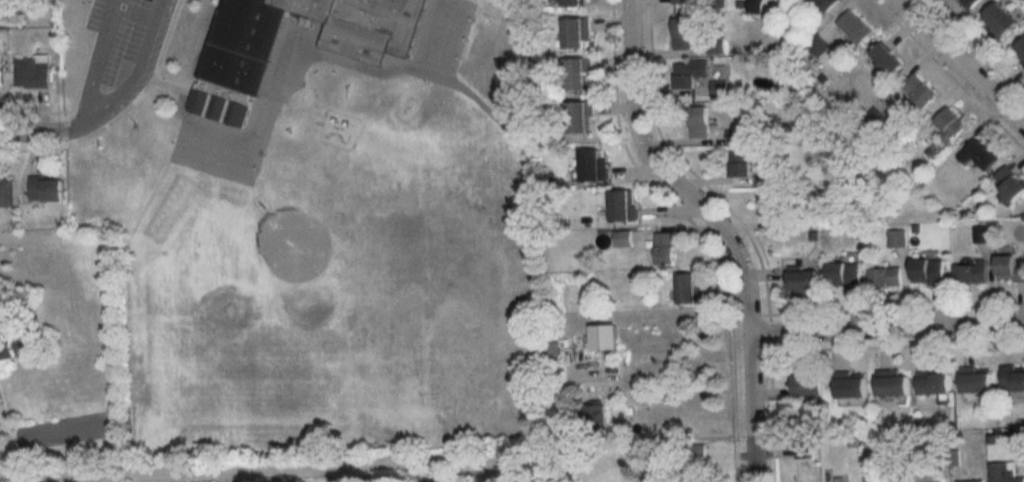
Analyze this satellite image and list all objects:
building: (680, 1)
building: (575, 2)
building: (969, 2)
building: (828, 4)
building: (756, 6)
building: (1000, 19)
building: (855, 27)
building: (577, 32)
building: (683, 33)
building: (716, 45)
building: (1020, 50)
road: (97, 59)
building: (236, 61)
building: (887, 61)
road: (961, 62)
building: (32, 72)
building: (689, 72)
building: (579, 73)
road: (133, 78)
building: (720, 89)
building: (920, 90)
building: (580, 116)
building: (699, 121)
building: (950, 124)
road: (508, 127)
road: (33, 131)
building: (737, 137)
building: (979, 153)
building: (740, 163)
building: (594, 164)
building: (773, 176)
building: (1010, 183)
building: (46, 187)
building: (7, 191)
building: (623, 205)
building: (776, 205)
road: (717, 229)
building: (665, 248)
building: (1010, 268)
building: (928, 270)
building: (972, 272)
building: (845, 275)
building: (885, 277)
building: (804, 280)
building: (691, 288)
road: (886, 329)
building: (604, 337)
building: (24, 344)
building: (1012, 378)
building: (977, 381)
building: (935, 382)
building: (809, 385)
building: (893, 385)
building: (851, 387)
building: (804, 448)
building: (698, 452)
road: (267, 472)
building: (1004, 472)
building: (883, 478)
building: (971, 481)

